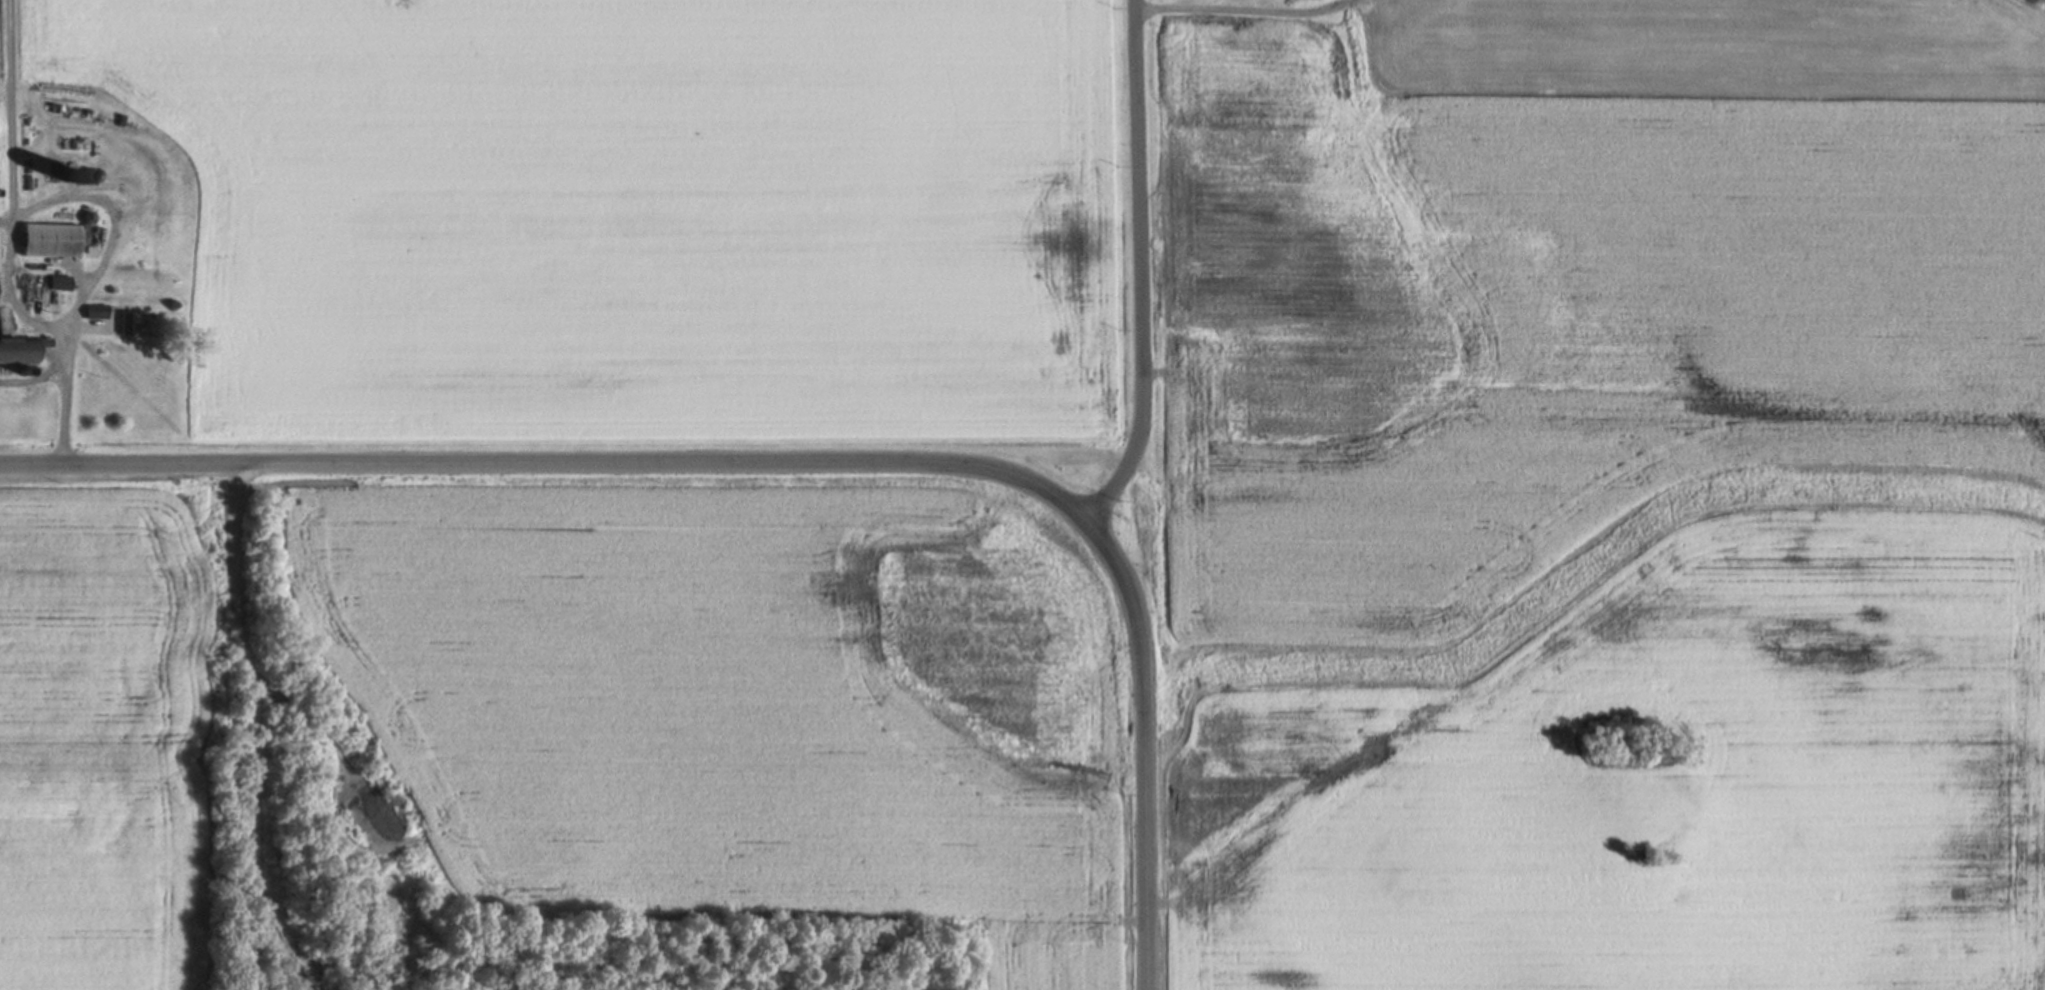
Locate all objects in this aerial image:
road: (14, 185)
building: (51, 238)
road: (1141, 266)
building: (61, 282)
road: (92, 283)
building: (97, 311)
building: (137, 324)
building: (17, 350)
road: (793, 464)
road: (312, 725)
road: (261, 733)
quarry: (308, 801)
road: (1164, 907)
road: (1137, 924)

